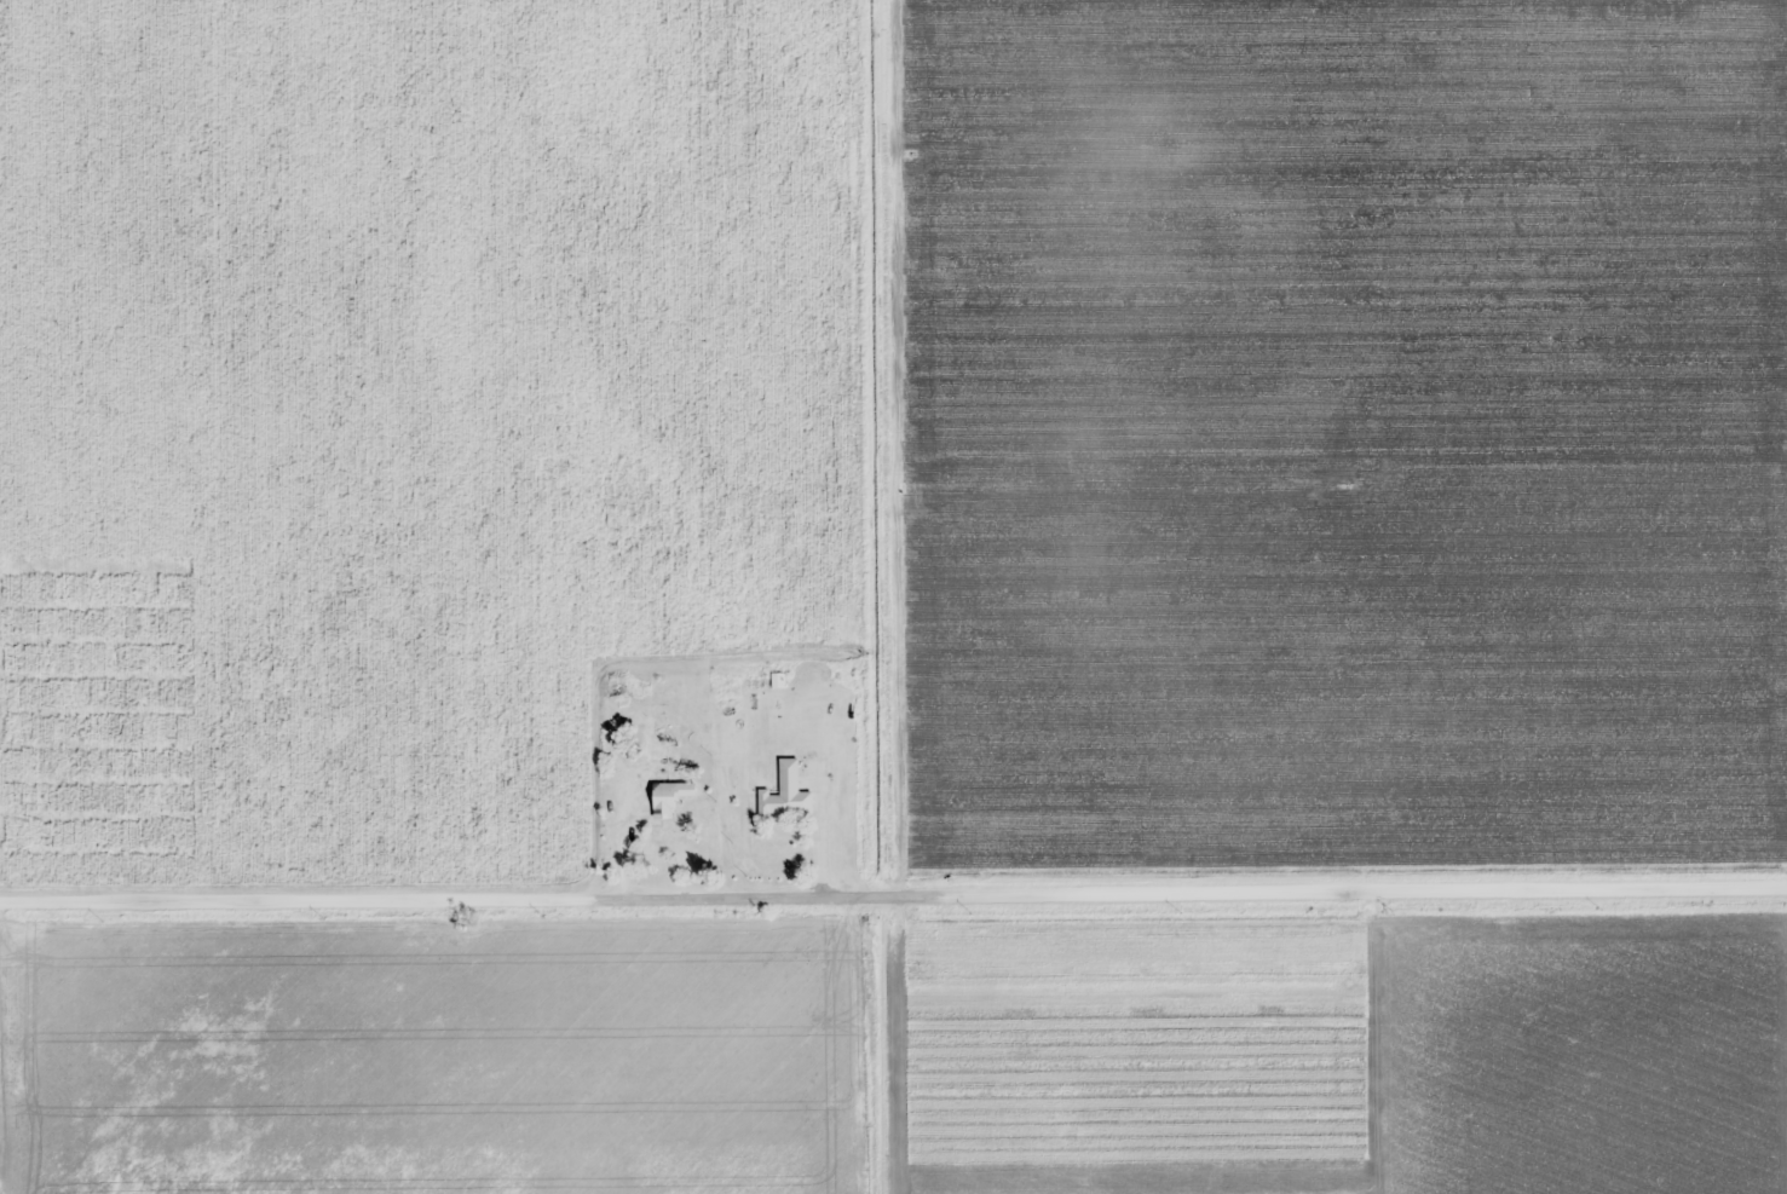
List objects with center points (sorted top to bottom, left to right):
building: (783, 790)
building: (669, 797)
road: (893, 890)

